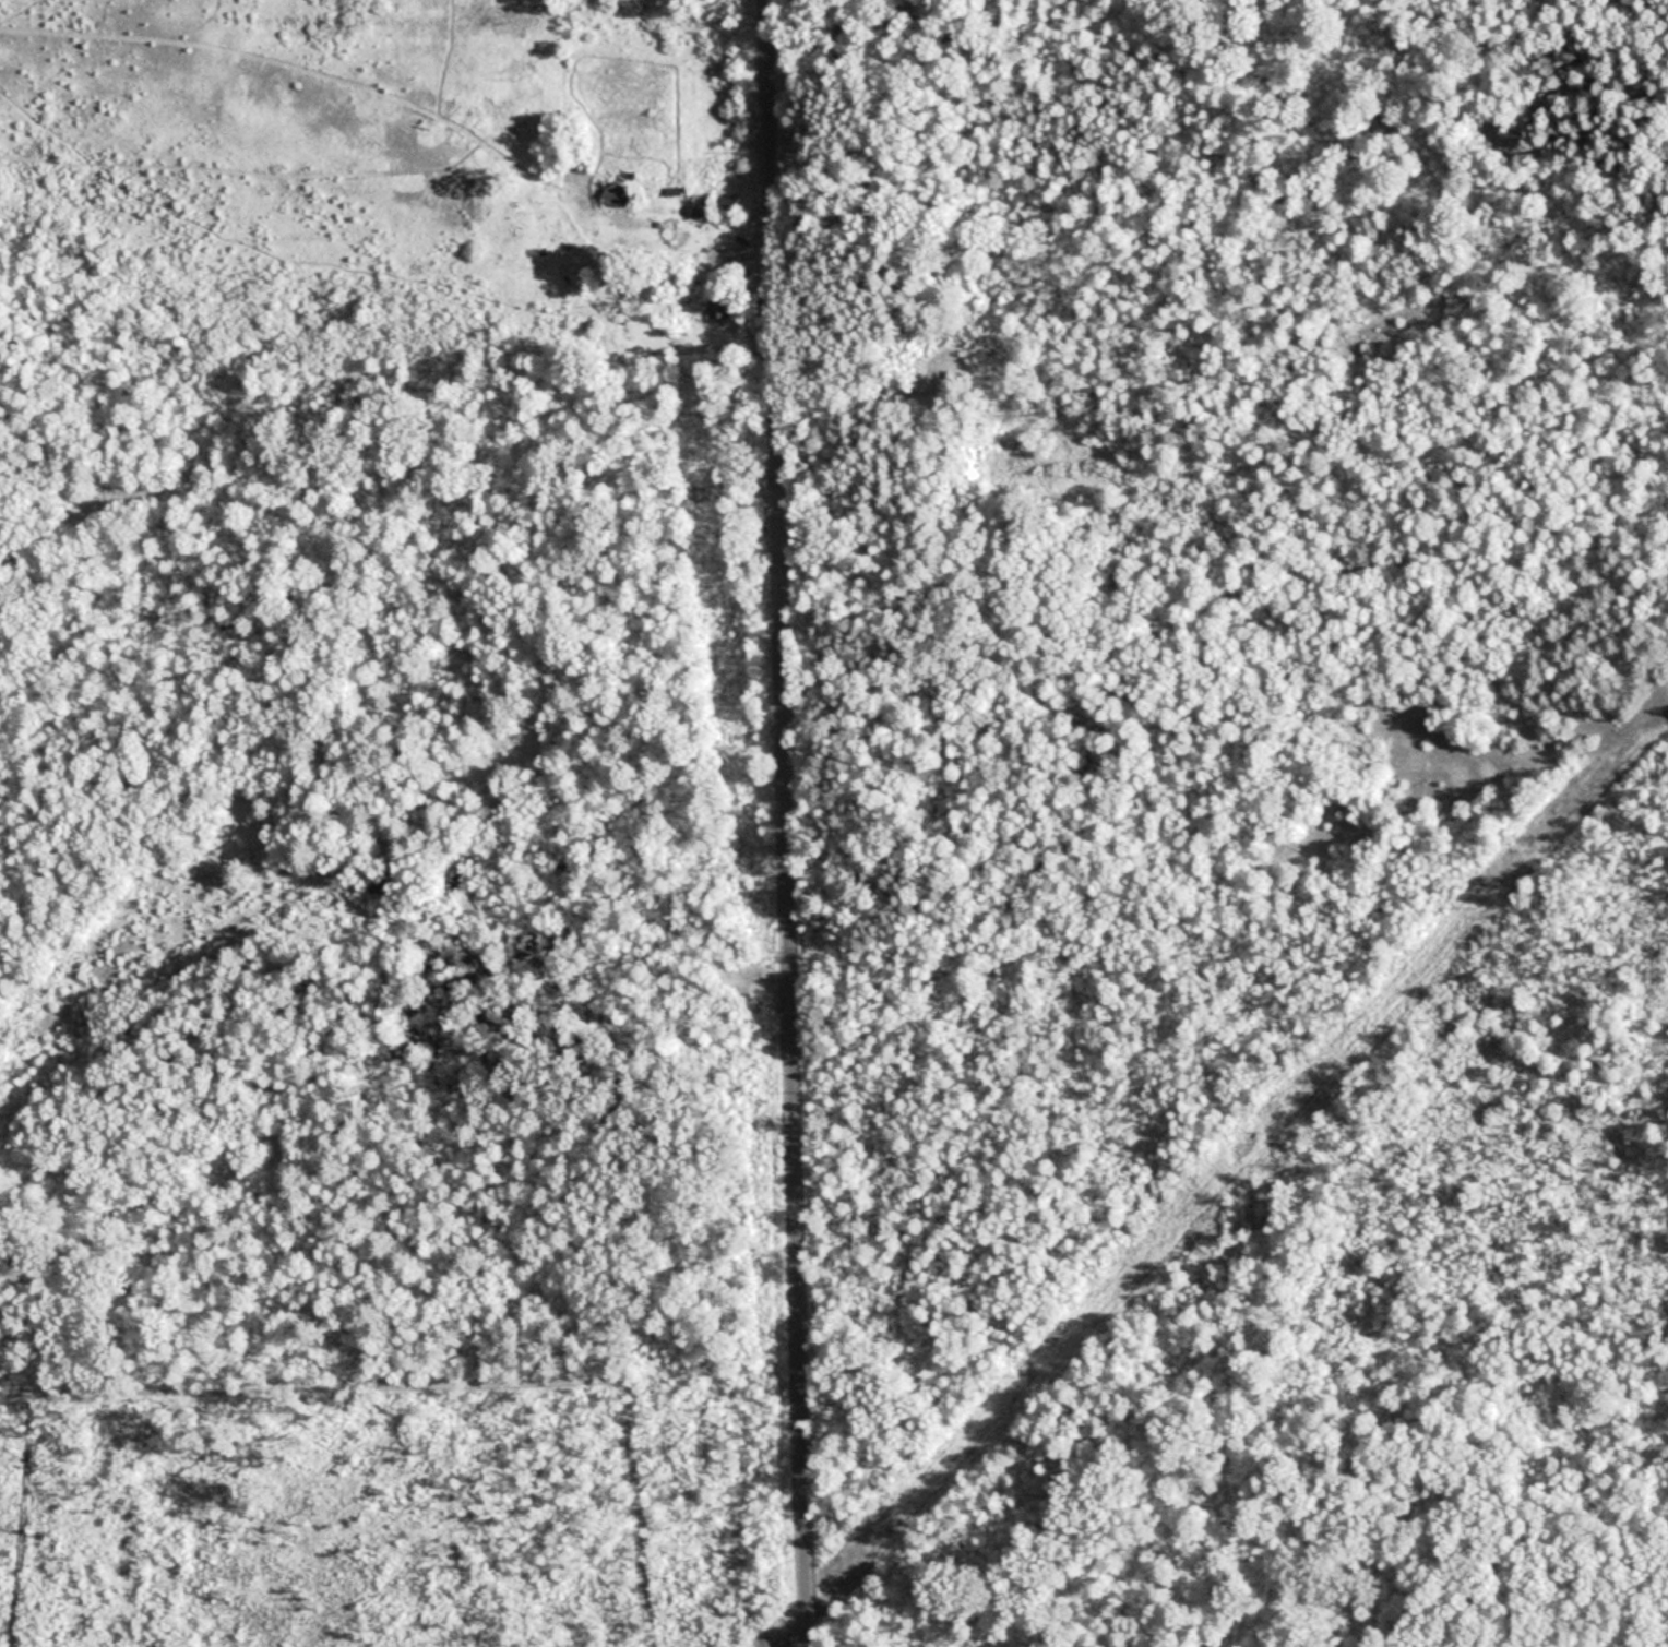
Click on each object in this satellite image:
building: (701, 205)
building: (718, 303)
road: (785, 823)
park: (929, 834)
building: (756, 989)

